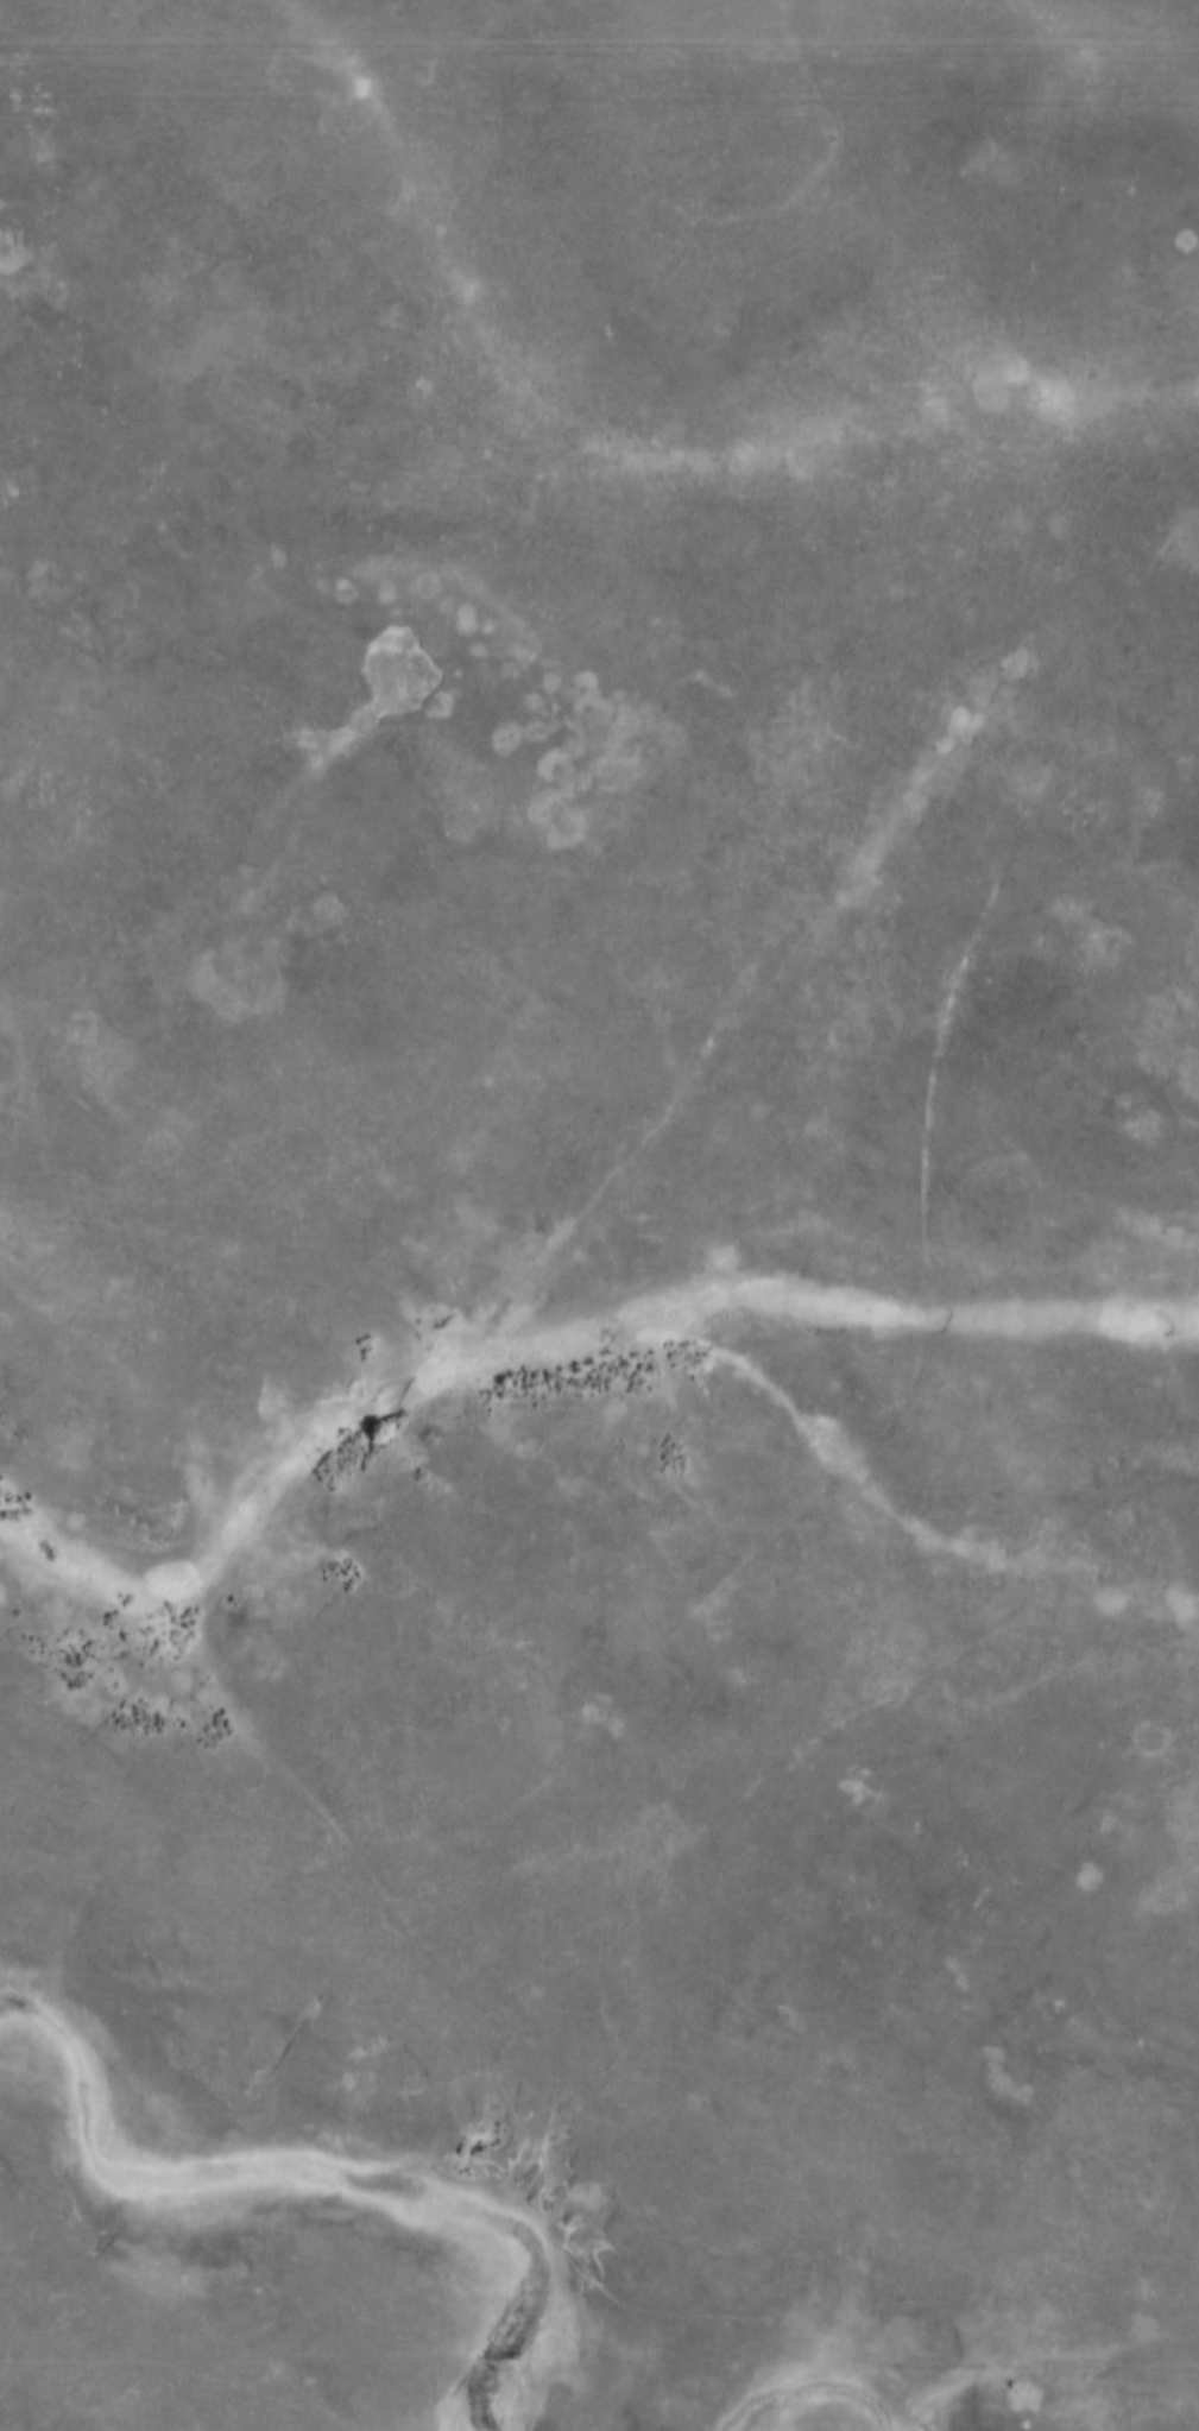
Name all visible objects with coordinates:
road: (599, 57)

